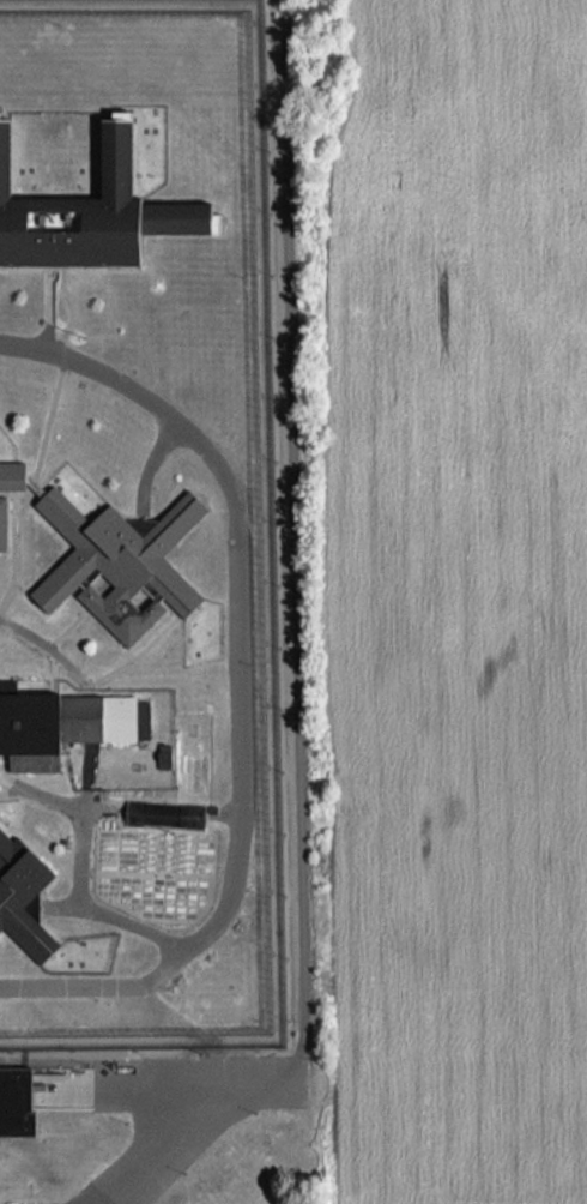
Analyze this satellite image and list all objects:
building: (89, 207)
building: (13, 471)
building: (5, 522)
building: (119, 558)
road: (296, 652)
building: (65, 722)
building: (162, 814)
building: (24, 903)
road: (162, 1084)
building: (13, 1098)

